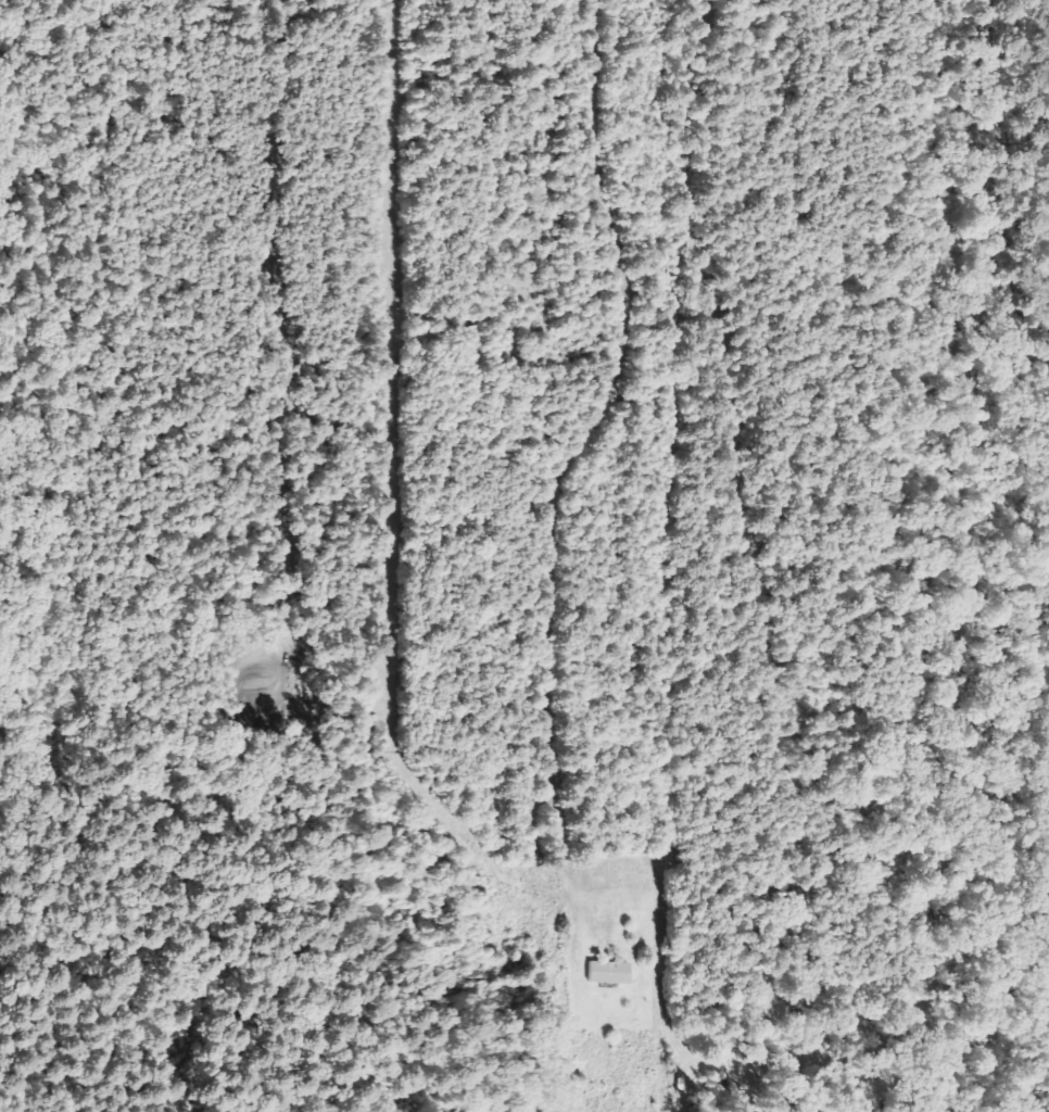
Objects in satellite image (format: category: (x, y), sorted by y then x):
road: (396, 167)
building: (610, 972)

